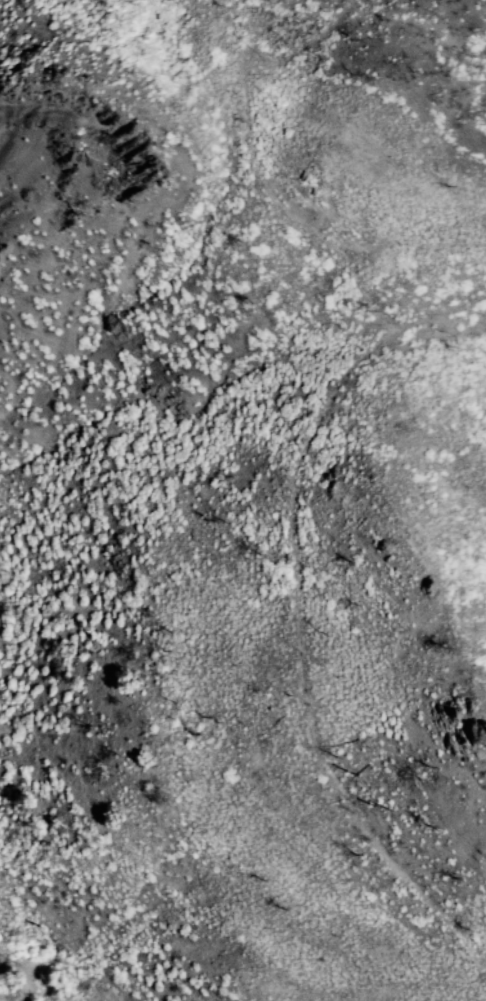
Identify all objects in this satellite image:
road: (305, 445)
road: (69, 988)

